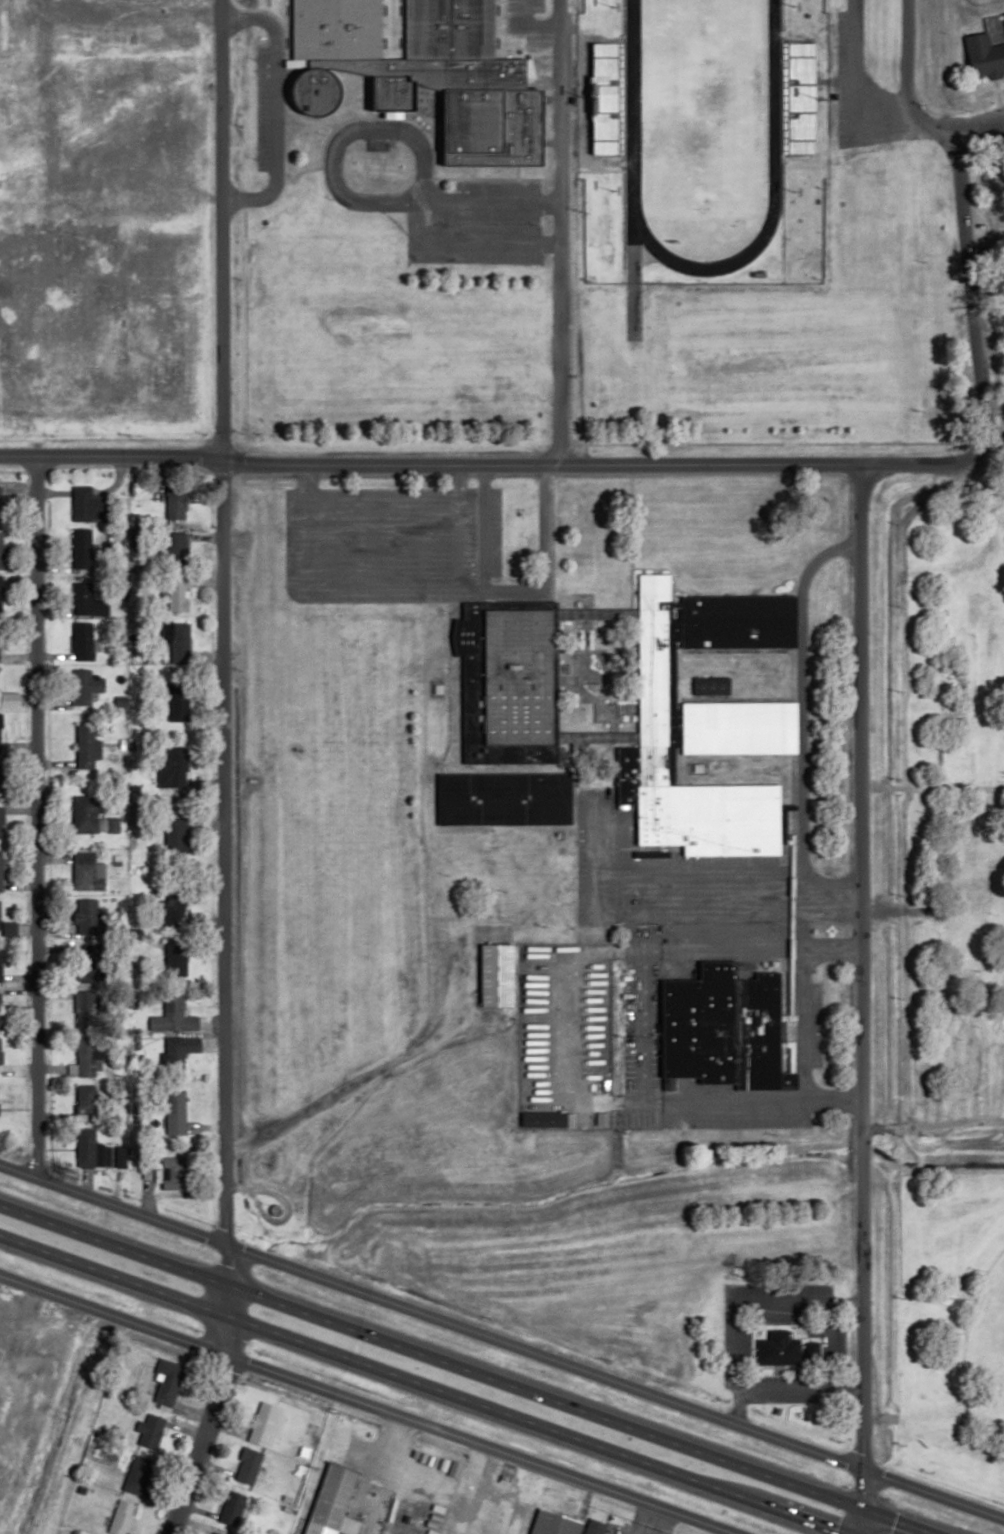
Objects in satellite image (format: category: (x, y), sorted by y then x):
parking lot: (535, 5)
street lamp: (789, 5)
street lamp: (609, 6)
park: (974, 6)
parking lot: (509, 18)
road: (528, 25)
road: (607, 25)
road: (567, 26)
building: (988, 48)
road: (905, 51)
road: (567, 59)
building: (428, 74)
parking lot: (839, 80)
road: (994, 87)
road: (854, 93)
street lamp: (593, 98)
stadium: (608, 98)
stadium: (798, 98)
street lamp: (818, 99)
road: (567, 104)
park: (699, 104)
parking lot: (260, 108)
road: (274, 109)
road: (284, 110)
road: (931, 122)
track: (700, 130)
road: (980, 133)
road: (326, 138)
parking lot: (378, 144)
road: (567, 145)
road: (332, 153)
road: (432, 167)
road: (516, 171)
parking lot: (497, 186)
street lamp: (609, 191)
street lamp: (790, 191)
road: (418, 203)
parking lot: (483, 223)
road: (557, 231)
parking lot: (472, 257)
road: (567, 312)
road: (243, 332)
road: (966, 356)
road: (430, 462)
road: (306, 467)
road: (395, 493)
building: (176, 503)
building: (83, 504)
road: (481, 527)
road: (550, 538)
road: (354, 539)
road: (387, 539)
road: (422, 539)
road: (456, 539)
road: (628, 543)
parking lot: (403, 545)
building: (81, 548)
building: (177, 549)
building: (1, 551)
road: (430, 586)
building: (178, 592)
building: (0, 594)
building: (82, 599)
road: (599, 614)
building: (83, 642)
road: (453, 657)
road: (790, 674)
park: (599, 675)
road: (448, 682)
building: (509, 682)
building: (85, 686)
road: (456, 686)
building: (709, 686)
building: (0, 687)
building: (437, 688)
building: (175, 708)
road: (801, 719)
building: (706, 724)
building: (0, 737)
road: (600, 737)
road: (456, 739)
building: (85, 747)
road: (570, 755)
road: (613, 761)
building: (177, 766)
building: (695, 768)
road: (220, 772)
building: (1, 776)
building: (506, 798)
building: (85, 813)
road: (28, 818)
building: (1, 822)
building: (176, 835)
building: (1, 871)
building: (87, 872)
road: (712, 872)
road: (793, 889)
road: (804, 889)
road: (609, 906)
road: (811, 906)
building: (90, 918)
parking lot: (631, 948)
park: (943, 953)
building: (175, 962)
building: (0, 964)
building: (89, 964)
road: (859, 966)
building: (499, 974)
building: (1, 1010)
building: (86, 1010)
building: (174, 1016)
road: (804, 1023)
parking lot: (816, 1023)
road: (565, 1025)
road: (645, 1025)
building: (725, 1029)
building: (0, 1051)
building: (180, 1051)
building: (86, 1057)
road: (373, 1070)
building: (87, 1103)
building: (176, 1113)
parking lot: (716, 1119)
building: (544, 1120)
building: (594, 1120)
road: (932, 1127)
building: (86, 1148)
building: (119, 1157)
building: (172, 1173)
road: (284, 1207)
building: (274, 1211)
road: (734, 1302)
parking lot: (780, 1317)
park: (985, 1326)
road: (838, 1342)
road: (502, 1344)
parking lot: (745, 1344)
building: (788, 1349)
road: (468, 1370)
building: (168, 1381)
road: (417, 1385)
road: (799, 1385)
parking lot: (785, 1396)
road: (362, 1406)
building: (267, 1424)
building: (151, 1431)
building: (248, 1465)
building: (138, 1475)
road: (861, 1501)
building: (334, 1502)
building: (233, 1507)
traffic signals: (861, 1508)
building: (122, 1517)
building: (555, 1523)
building: (595, 1526)
building: (214, 1533)

